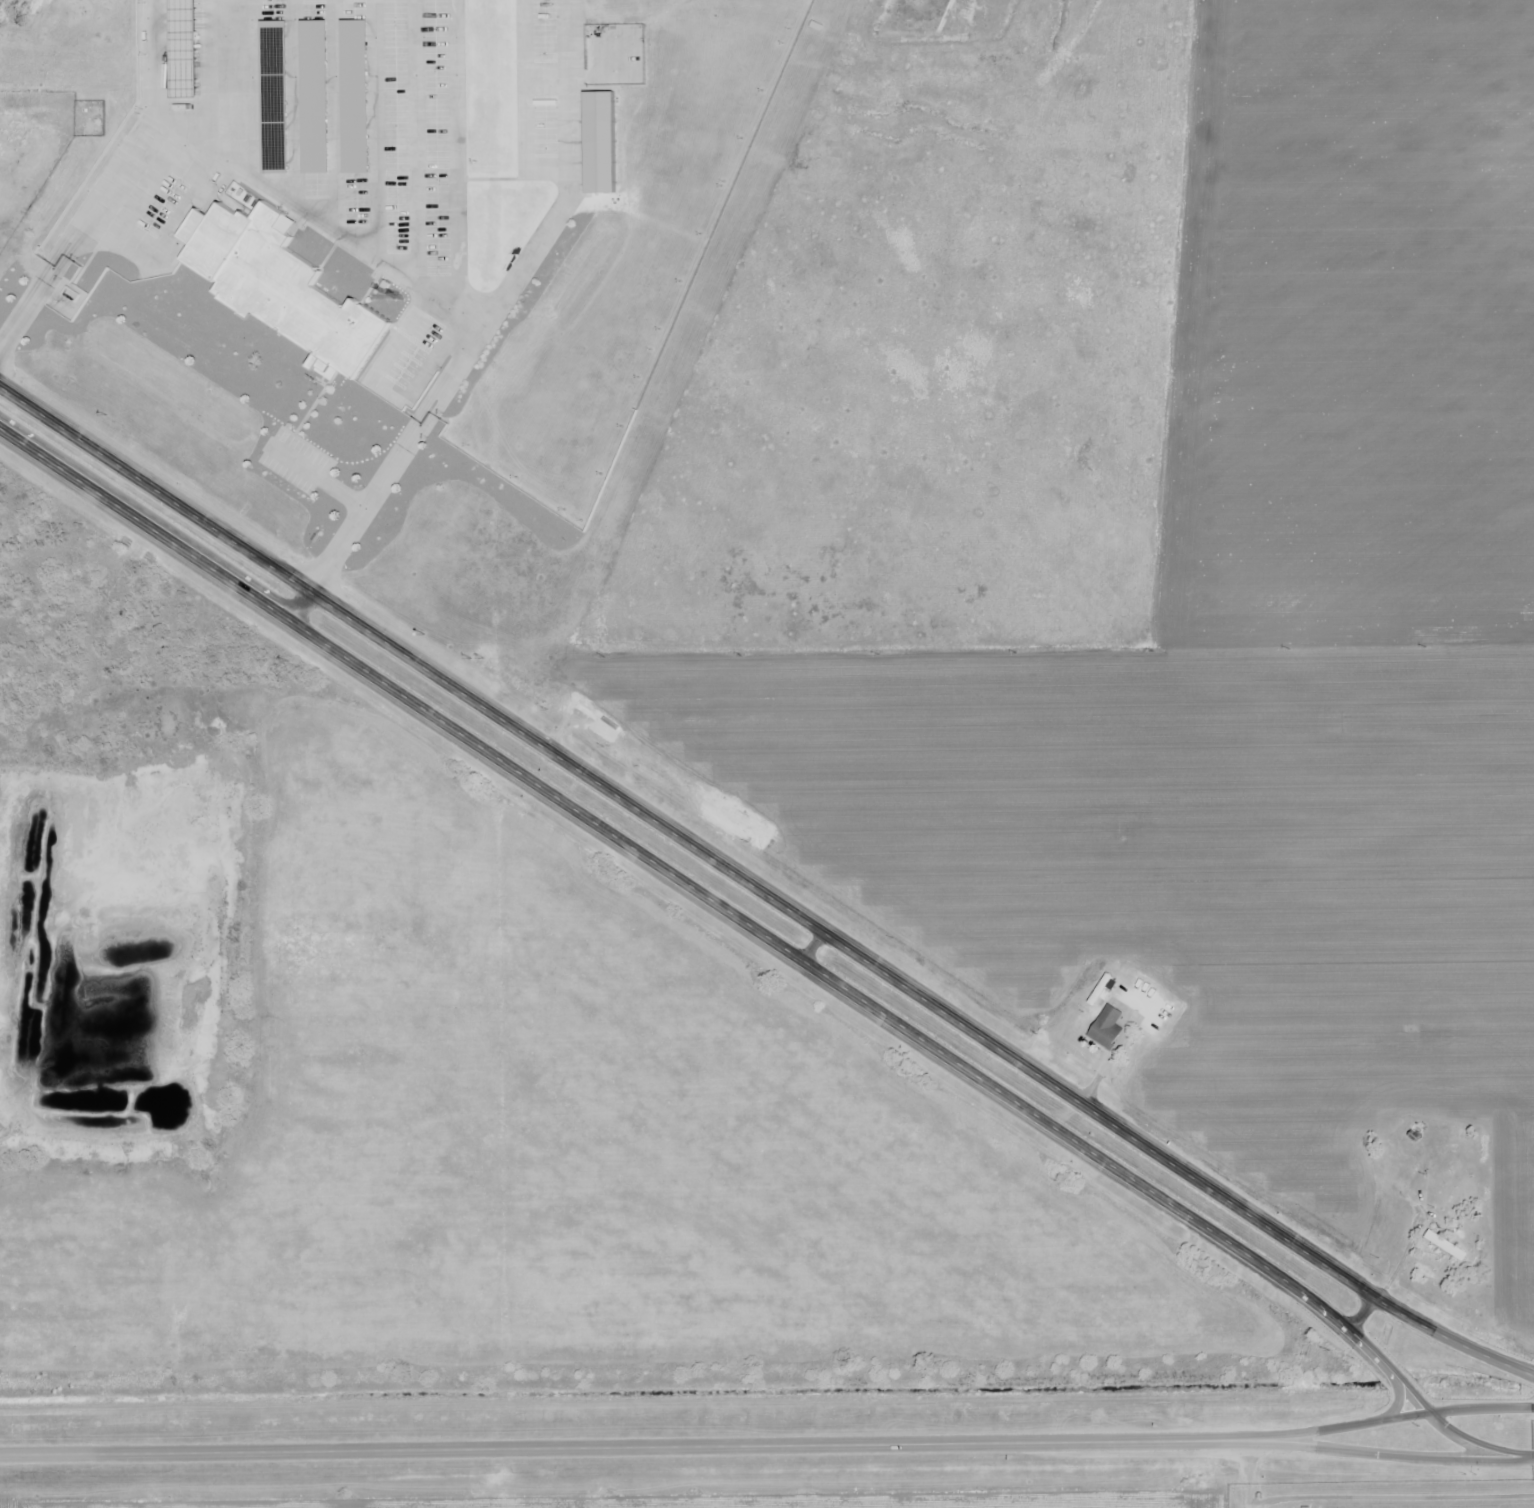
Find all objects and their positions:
building: (186, 48)
road: (152, 56)
road: (229, 80)
building: (317, 96)
building: (357, 96)
building: (278, 98)
road: (295, 100)
road: (526, 107)
road: (335, 113)
road: (375, 125)
road: (415, 137)
building: (601, 142)
road: (461, 152)
road: (572, 171)
road: (336, 225)
building: (287, 289)
road: (401, 332)
road: (424, 368)
road: (300, 605)
road: (761, 889)
road: (769, 938)
road: (1110, 1059)
road: (1360, 1421)
road: (593, 1451)
road: (1360, 1451)

